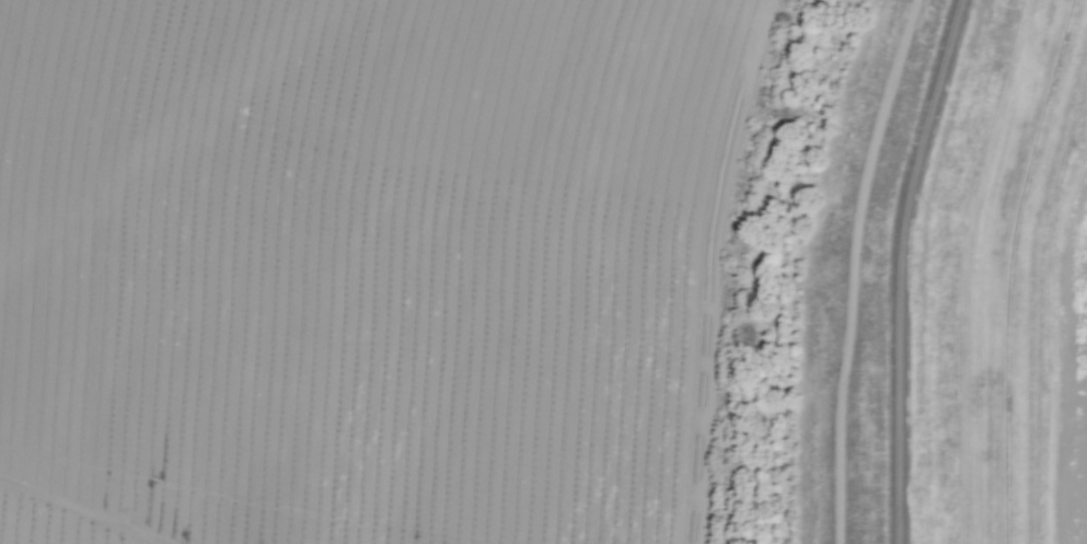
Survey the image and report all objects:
road: (111, 500)

